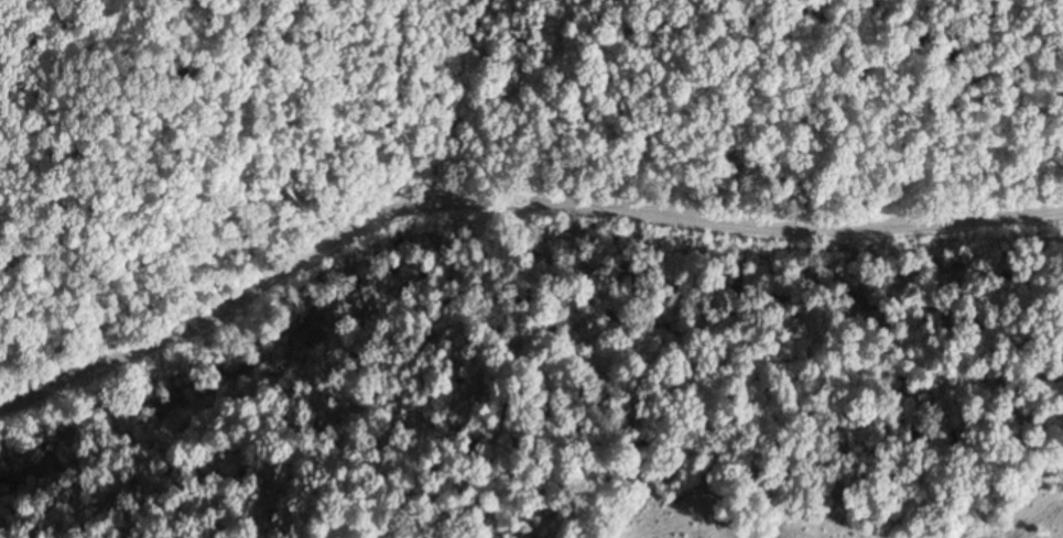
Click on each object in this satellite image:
road: (508, 200)

